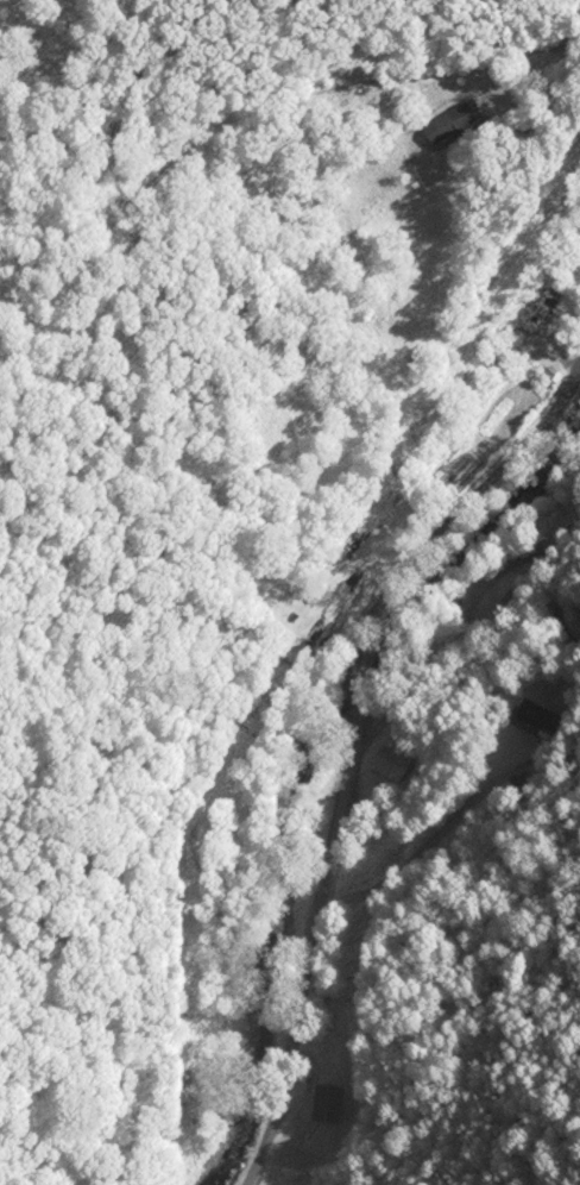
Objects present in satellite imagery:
road: (537, 74)
building: (449, 123)
road: (222, 124)
building: (536, 311)
building: (553, 375)
road: (456, 508)
road: (568, 560)
road: (354, 678)
building: (540, 717)
building: (391, 764)
road: (425, 851)
road: (313, 939)
building: (327, 1104)

